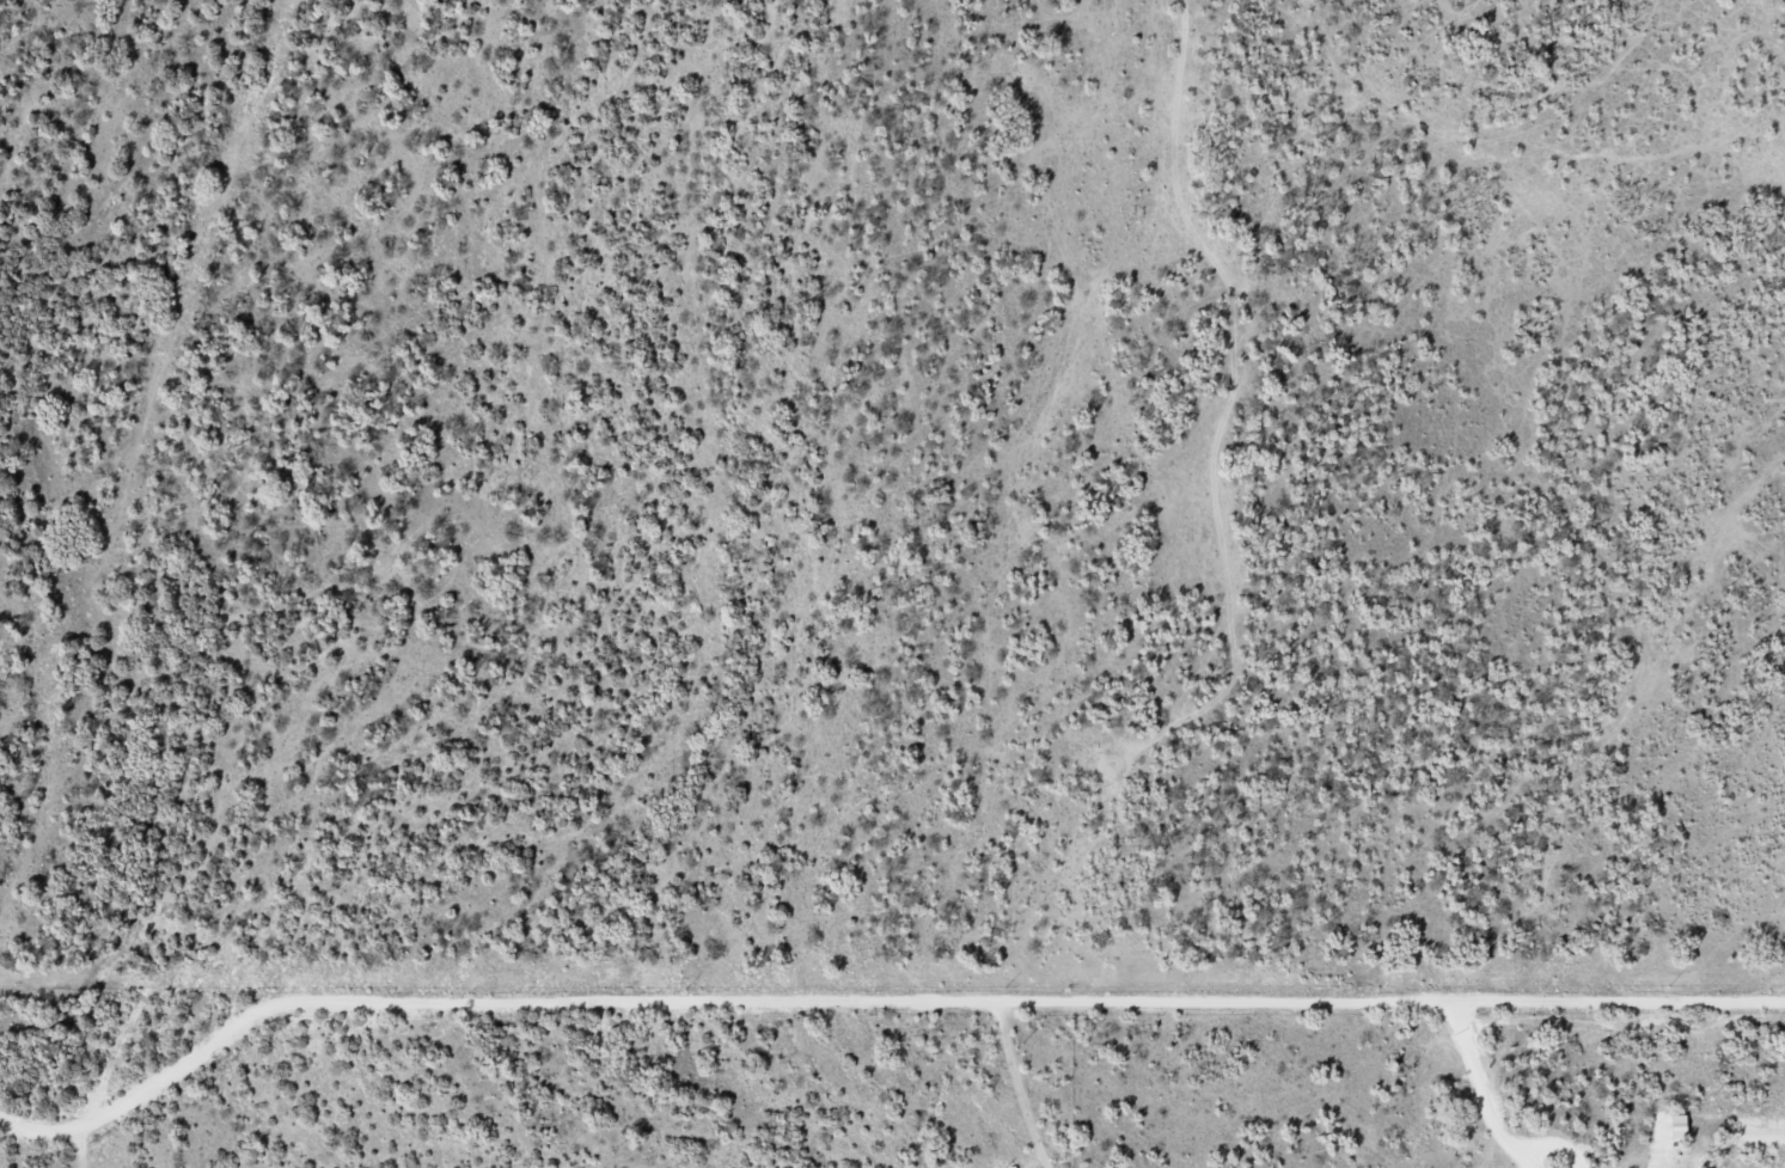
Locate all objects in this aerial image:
road: (880, 992)
road: (955, 1086)

